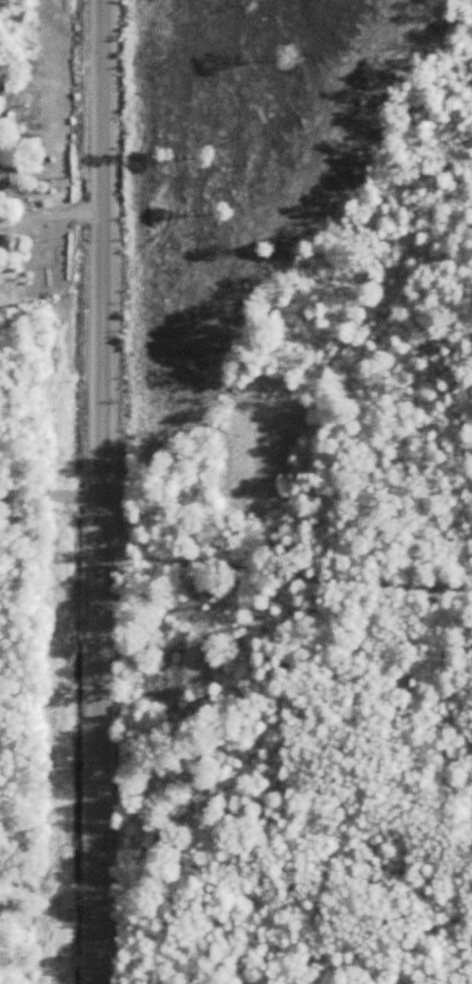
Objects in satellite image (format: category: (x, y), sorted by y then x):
road: (100, 492)
road: (50, 494)
road: (283, 616)

